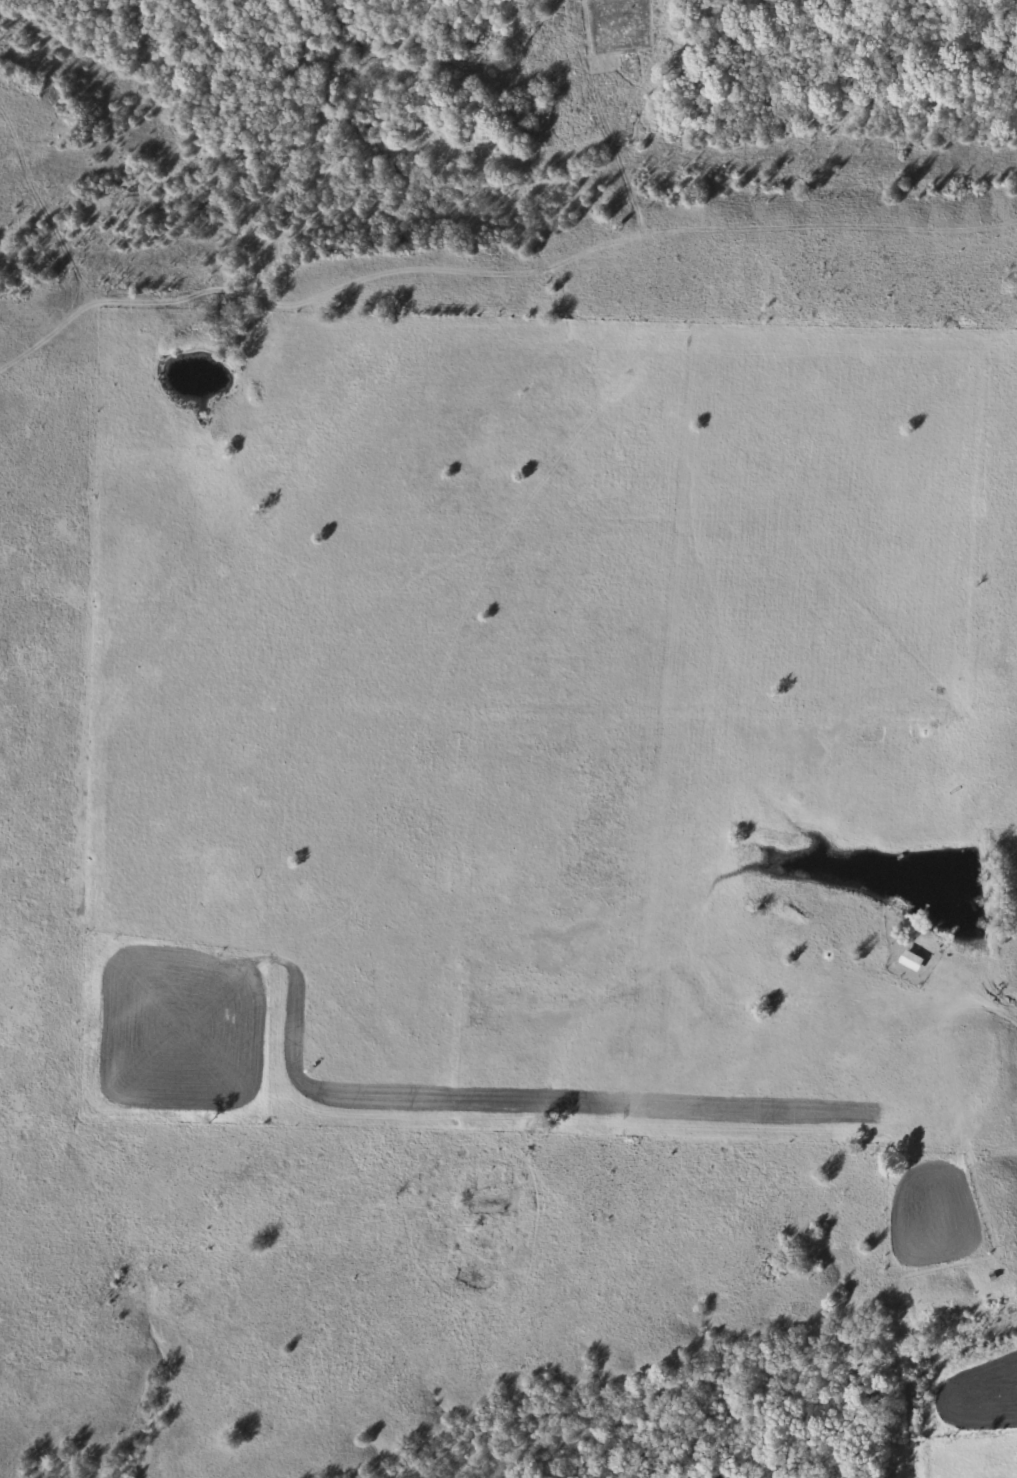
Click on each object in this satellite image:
building: (911, 962)

